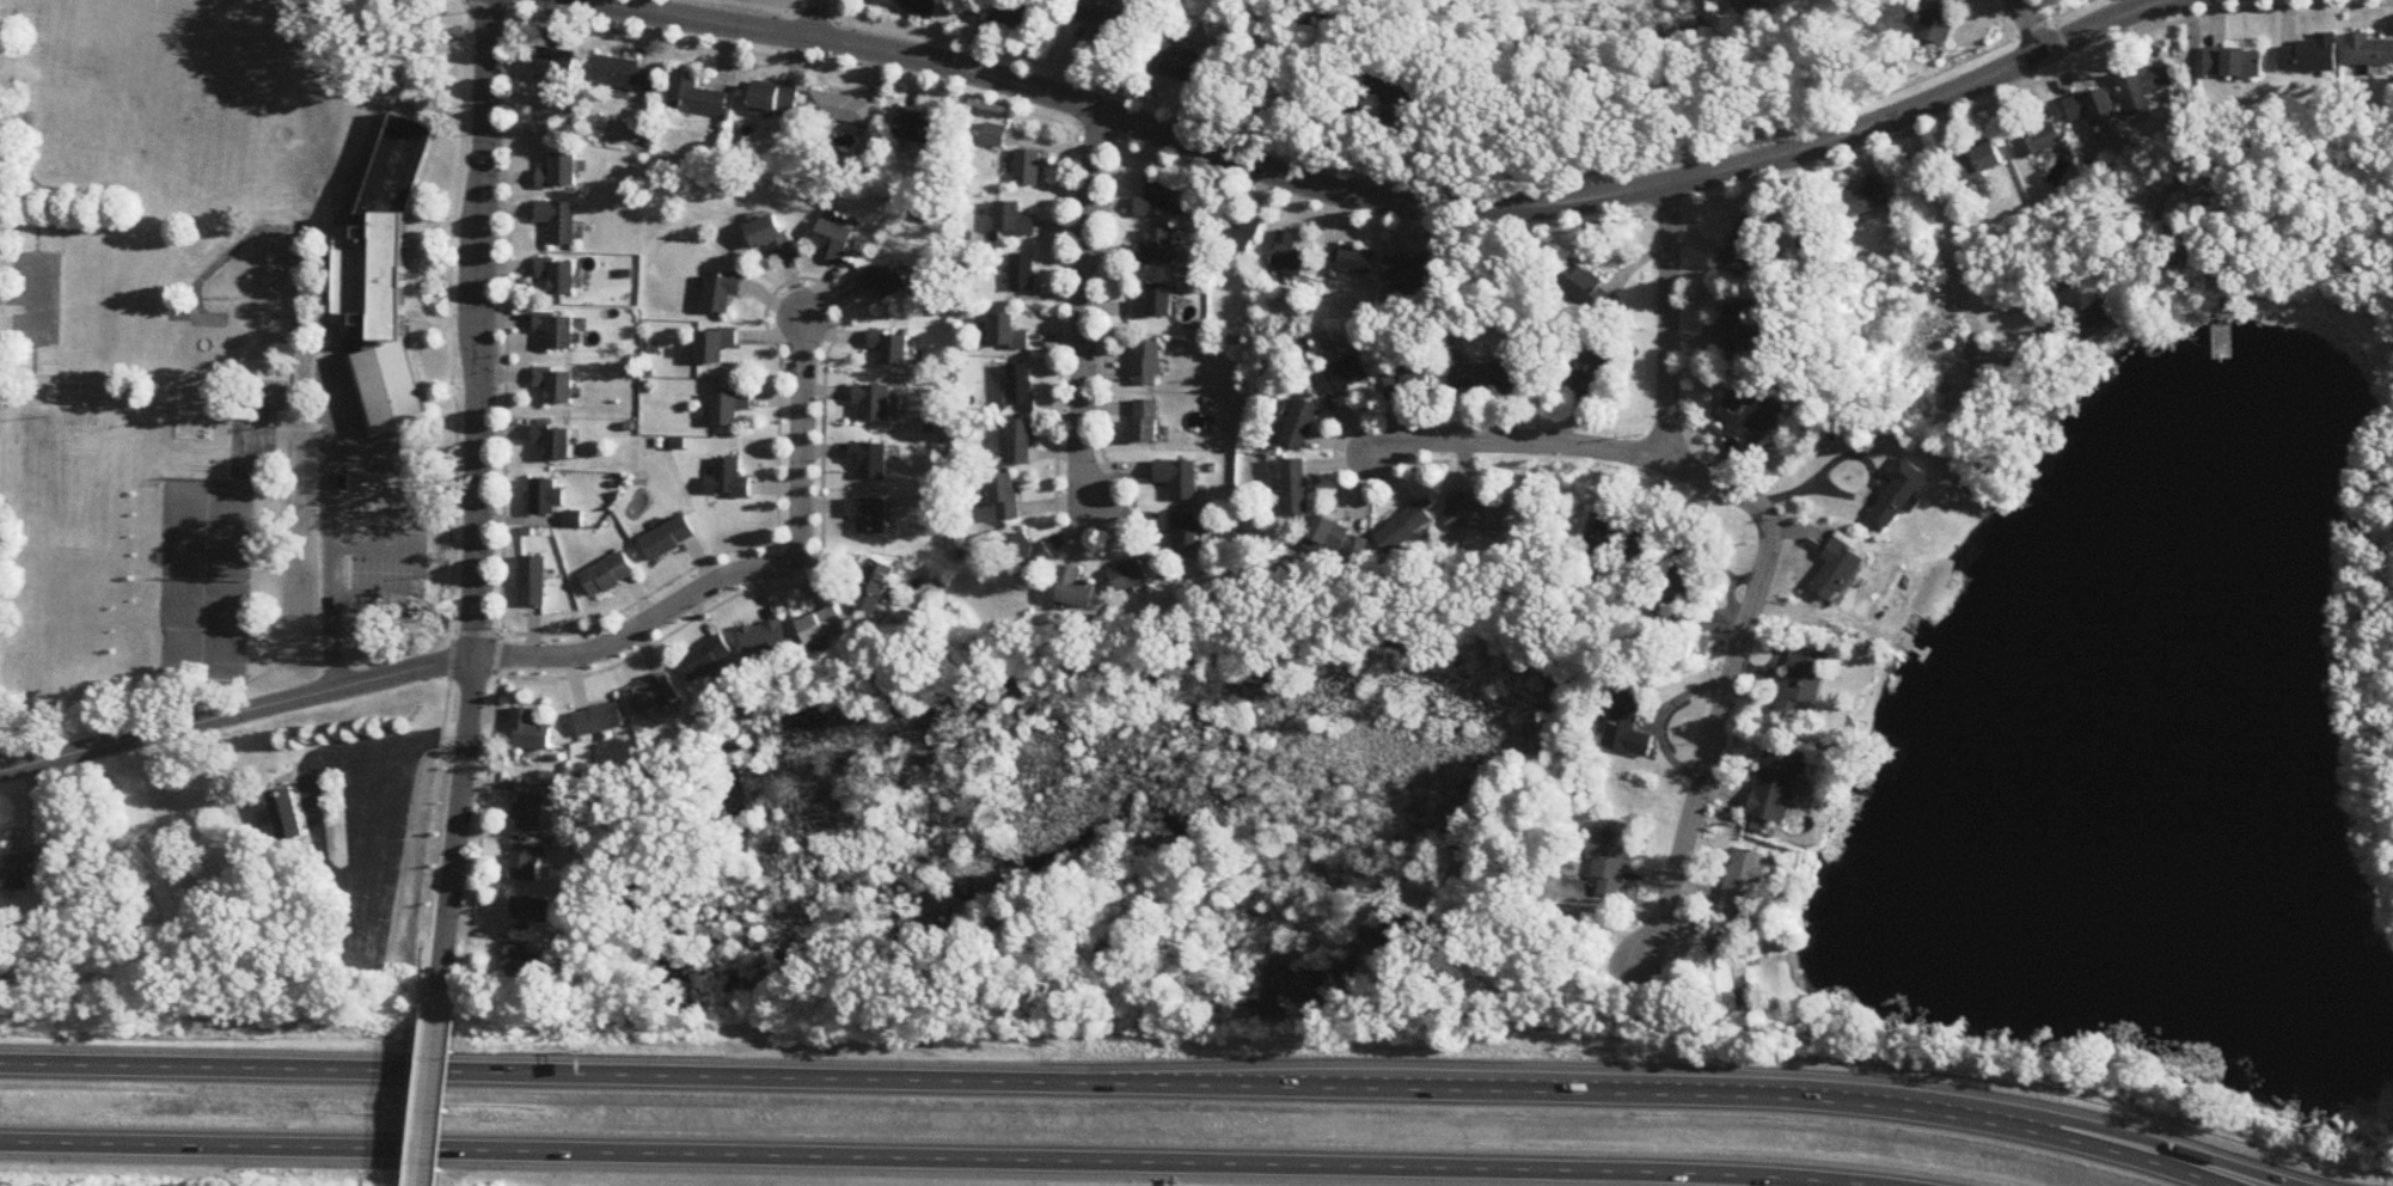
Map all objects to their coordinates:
building: (910, 6)
building: (1009, 13)
road: (2205, 17)
road: (818, 19)
building: (1100, 19)
road: (2052, 19)
building: (1936, 22)
road: (2030, 26)
building: (2369, 51)
building: (2311, 56)
road: (2020, 63)
building: (2234, 65)
building: (1183, 66)
building: (558, 67)
building: (625, 75)
road: (392, 85)
building: (2144, 90)
building: (1397, 93)
building: (696, 96)
building: (775, 102)
building: (840, 109)
building: (2092, 109)
road: (2193, 114)
building: (916, 129)
building: (996, 136)
building: (2034, 139)
building: (1978, 161)
building: (1028, 170)
building: (562, 173)
road: (1375, 201)
building: (1868, 201)
building: (1156, 202)
building: (1014, 221)
building: (562, 224)
building: (771, 237)
road: (1947, 239)
building: (1241, 242)
building: (838, 243)
building: (1751, 245)
building: (1157, 250)
building: (1290, 257)
building: (1358, 263)
building: (1413, 271)
building: (1023, 274)
building: (561, 277)
building: (386, 280)
building: (887, 281)
building: (1589, 289)
building: (724, 293)
building: (1156, 305)
road: (1078, 310)
road: (1669, 322)
building: (2103, 323)
building: (559, 332)
building: (1742, 332)
building: (1008, 335)
building: (215, 342)
building: (718, 347)
building: (894, 349)
building: (1146, 365)
building: (1590, 373)
building: (1482, 375)
building: (1412, 378)
building: (1344, 379)
building: (558, 387)
building: (1022, 390)
building: (881, 405)
building: (734, 409)
building: (1750, 415)
building: (1146, 422)
building: (1303, 427)
road: (1523, 439)
building: (1020, 442)
building: (556, 444)
building: (875, 461)
building: (1179, 479)
building: (732, 482)
building: (1297, 488)
road: (1860, 495)
building: (1897, 495)
building: (1005, 497)
building: (549, 499)
road: (477, 506)
building: (1476, 513)
building: (873, 516)
building: (1406, 527)
building: (1610, 528)
road: (332, 530)
building: (1182, 530)
building: (1640, 537)
building: (1340, 538)
building: (671, 539)
building: (1029, 554)
building: (1840, 566)
building: (1684, 570)
road: (421, 571)
road: (747, 573)
building: (1130, 575)
building: (610, 576)
building: (534, 582)
building: (875, 587)
building: (1076, 588)
building: (824, 624)
building: (765, 636)
building: (706, 658)
building: (1805, 681)
road: (1730, 687)
building: (655, 692)
road: (237, 715)
building: (600, 720)
building: (1626, 727)
building: (531, 732)
building: (1777, 784)
road: (394, 808)
building: (531, 813)
building: (287, 814)
building: (1610, 857)
building: (526, 862)
building: (18, 872)
building: (1744, 880)
building: (533, 910)
building: (527, 962)
building: (1724, 983)
road: (1116, 1086)
road: (433, 1098)
road: (2150, 1156)
road: (947, 1160)

